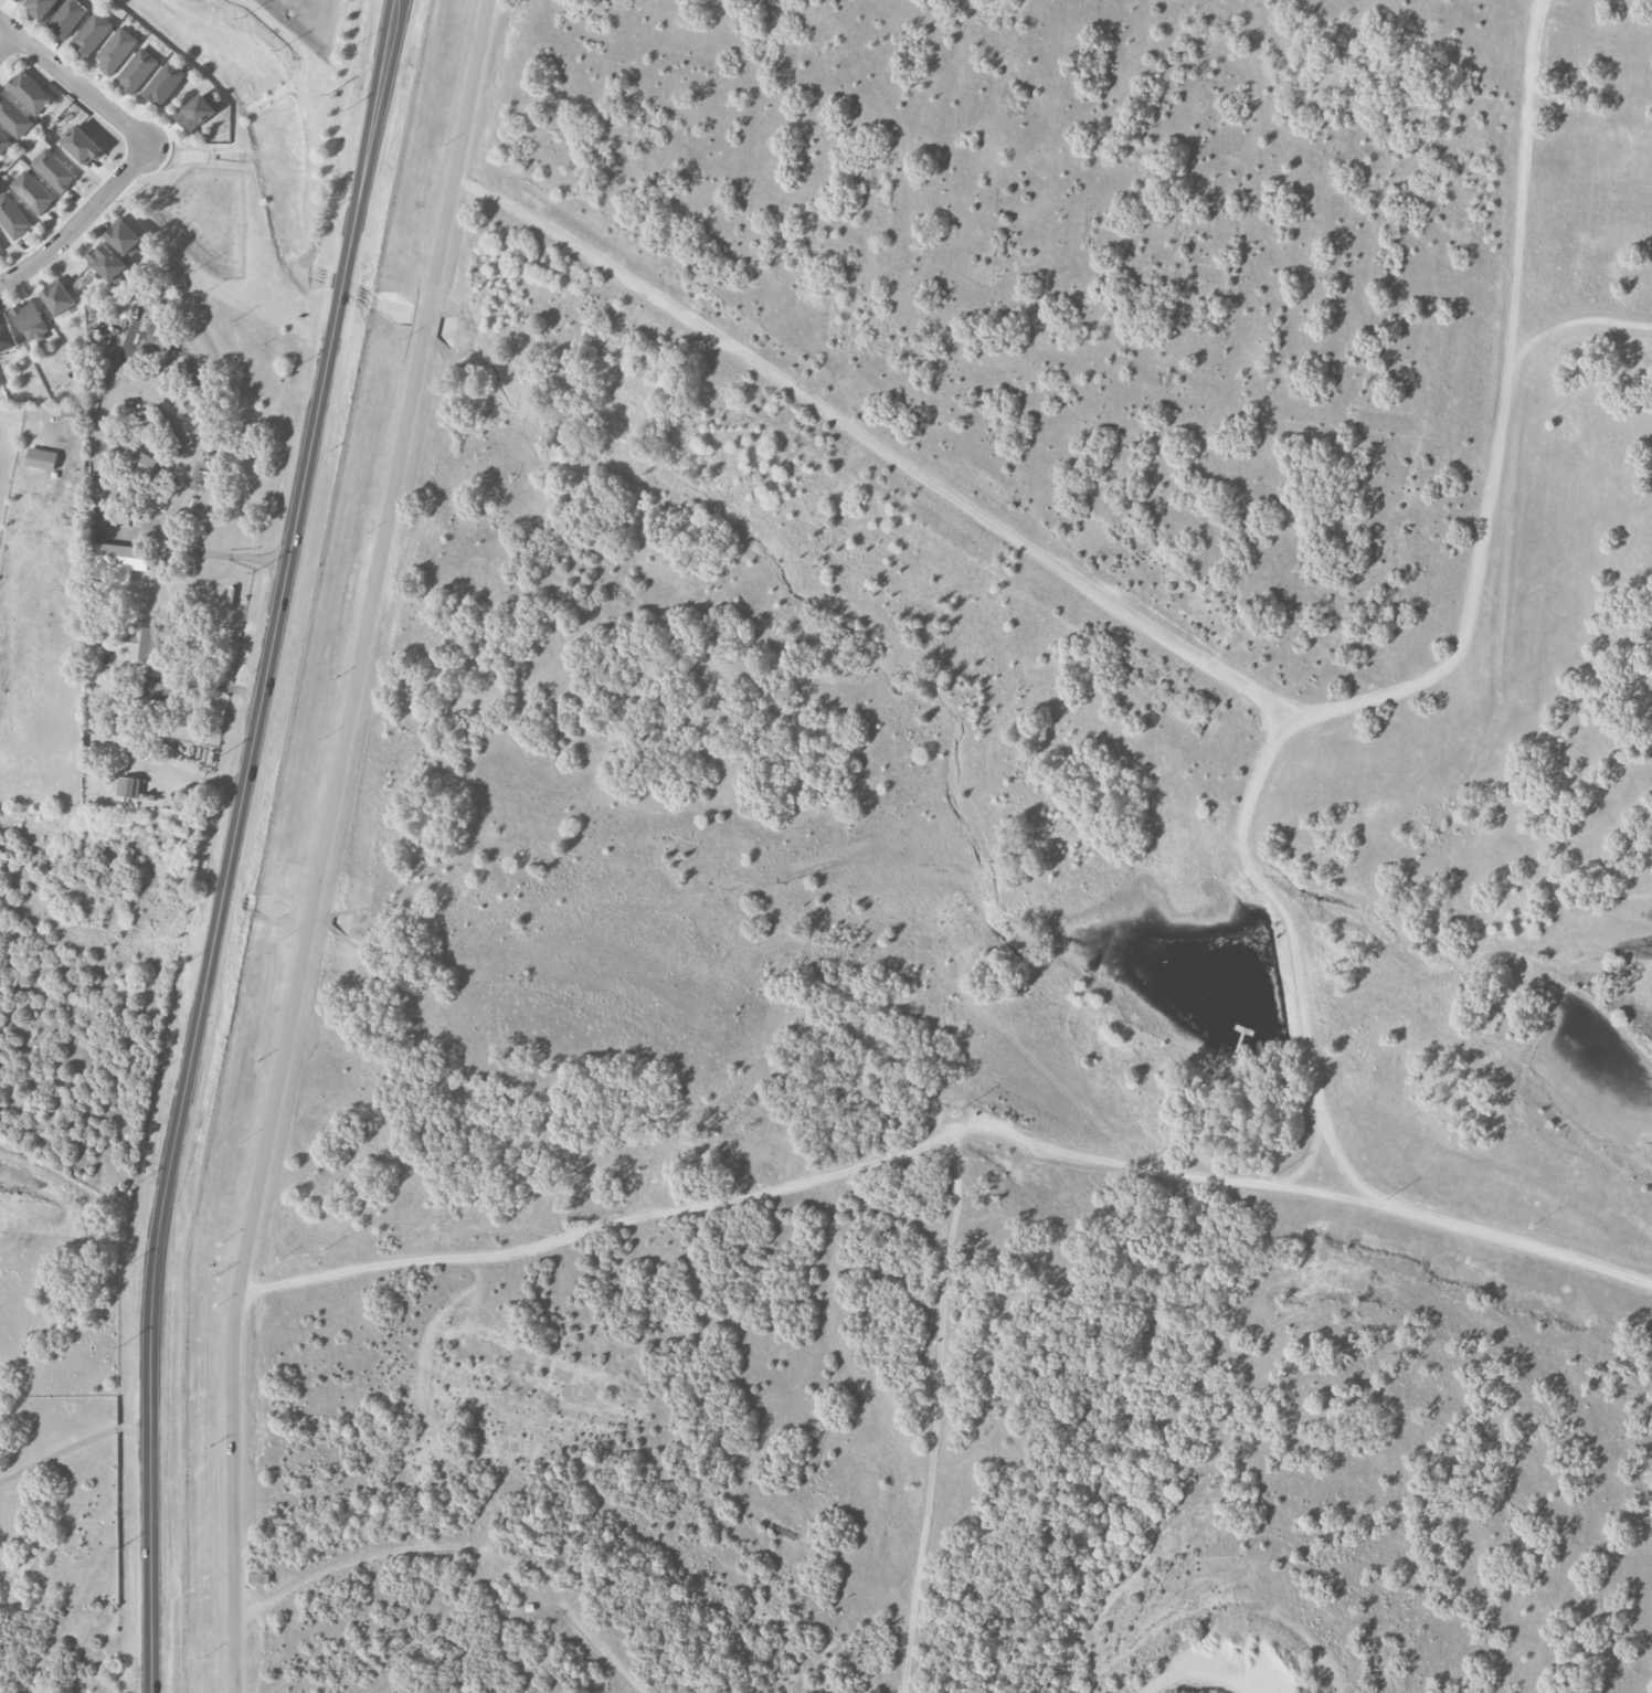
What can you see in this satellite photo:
building: (18, 0)
building: (40, 7)
building: (67, 17)
building: (91, 33)
road: (7, 42)
building: (115, 50)
building: (136, 70)
building: (163, 83)
road: (75, 85)
building: (29, 92)
building: (194, 113)
building: (13, 117)
building: (3, 141)
building: (82, 146)
building: (53, 169)
building: (32, 191)
building: (12, 216)
road: (80, 221)
building: (123, 236)
building: (0, 251)
building: (105, 261)
building: (57, 297)
building: (30, 320)
road: (1575, 325)
building: (6, 334)
building: (141, 420)
road: (97, 441)
building: (41, 458)
building: (121, 555)
building: (133, 642)
road: (1225, 679)
road: (202, 686)
road: (178, 772)
building: (123, 786)
road: (233, 842)
road: (329, 842)
road: (1294, 962)
road: (950, 1135)
road: (73, 1443)
road: (467, 1549)
road: (1249, 1615)
road: (1208, 1674)

